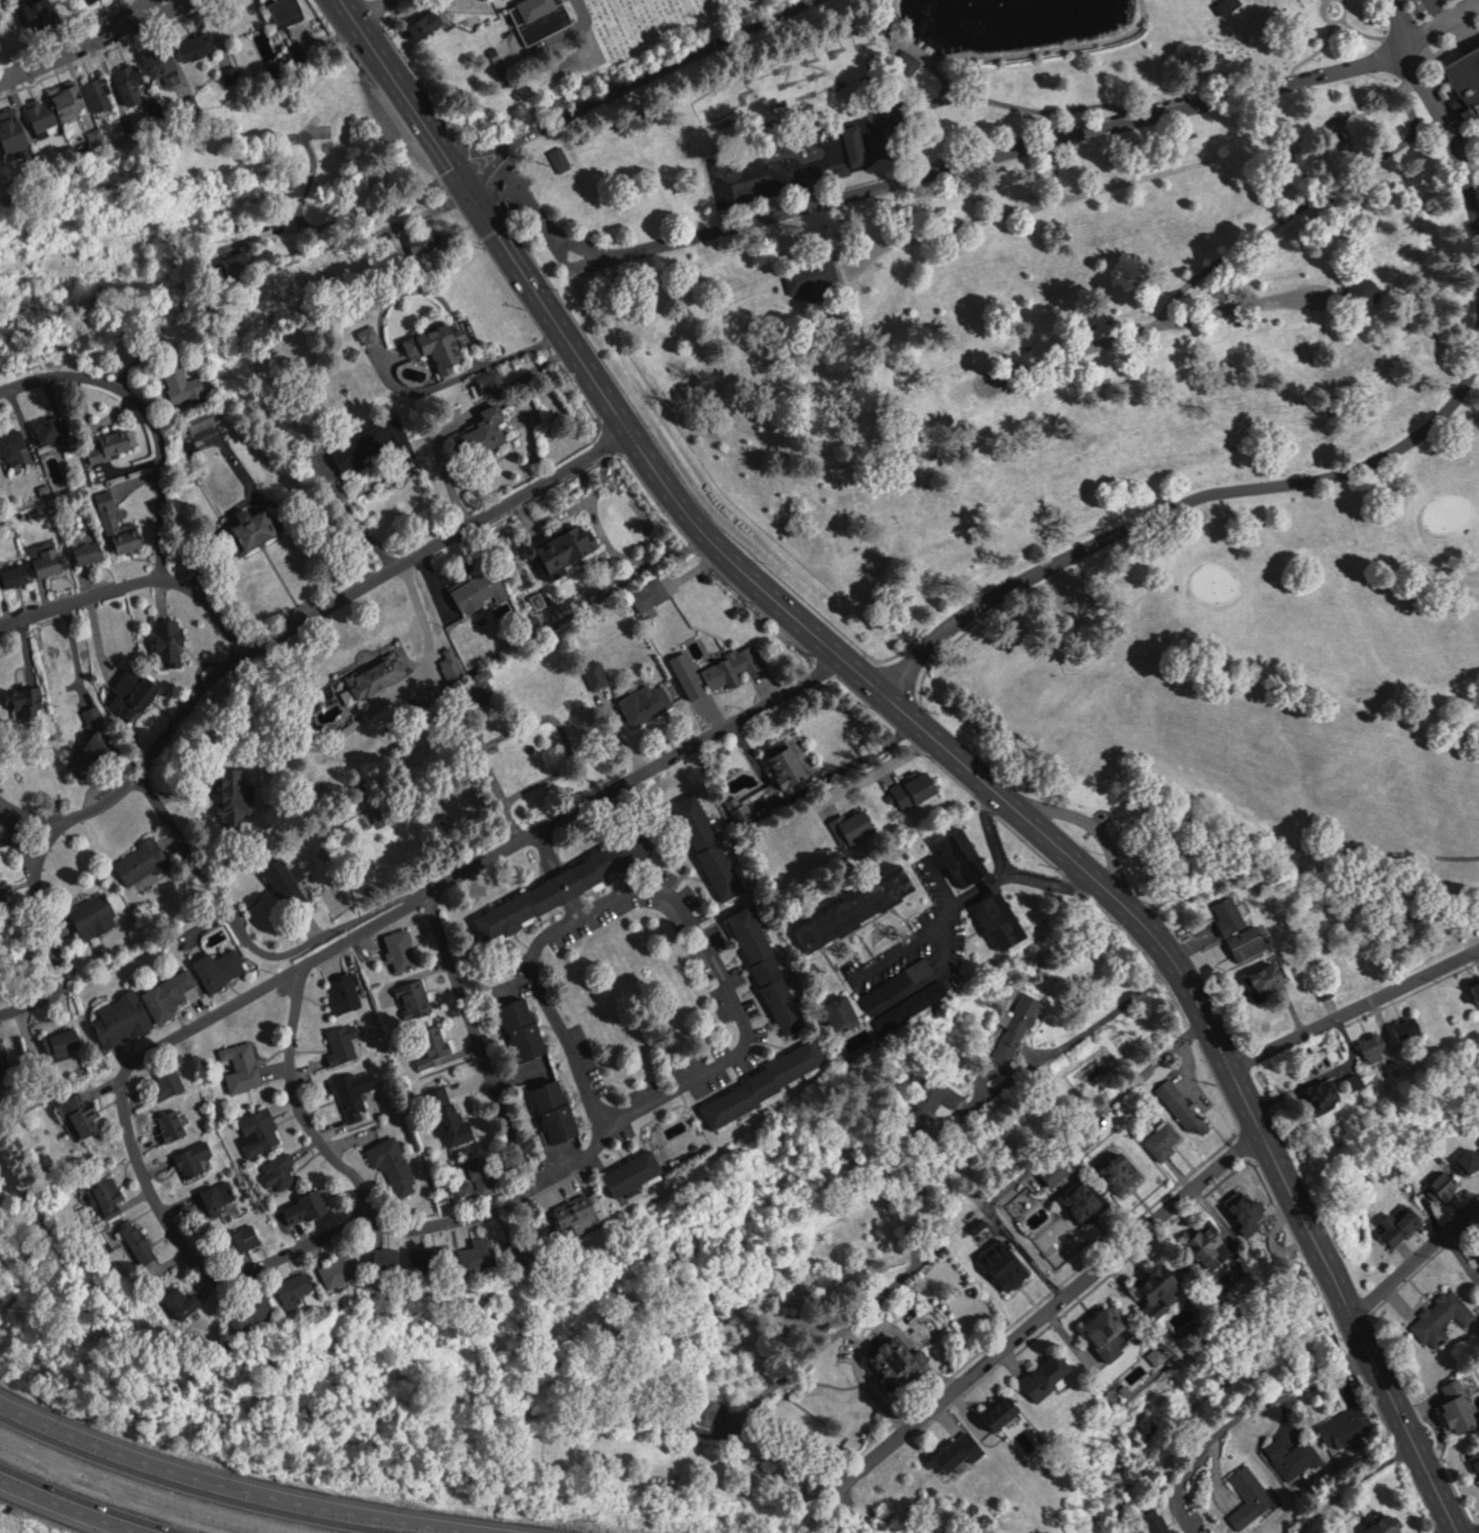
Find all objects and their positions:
building: (1229, 6)
road: (1436, 8)
building: (40, 10)
building: (289, 11)
parking lot: (1418, 13)
road: (131, 17)
building: (541, 18)
road: (1394, 20)
road: (1437, 20)
building: (430, 24)
road: (94, 41)
building: (197, 45)
park: (537, 45)
building: (165, 62)
park: (1454, 65)
building: (233, 74)
park: (807, 79)
road: (628, 82)
building: (134, 84)
building: (1465, 84)
building: (100, 95)
building: (73, 104)
building: (44, 115)
building: (14, 133)
building: (100, 134)
road: (1452, 134)
building: (855, 144)
building: (0, 146)
building: (559, 158)
road: (1053, 170)
road: (926, 176)
road: (470, 190)
road: (1037, 201)
road: (1311, 201)
building: (424, 243)
building: (238, 263)
park: (1011, 272)
road: (1156, 324)
building: (370, 334)
building: (439, 345)
building: (489, 383)
building: (188, 387)
road: (149, 413)
building: (202, 420)
building: (490, 428)
building: (50, 429)
building: (14, 441)
building: (369, 442)
building: (111, 443)
road: (1180, 500)
building: (119, 525)
building: (258, 527)
road: (436, 541)
building: (565, 546)
building: (89, 547)
building: (50, 561)
building: (15, 575)
road: (136, 579)
building: (483, 588)
building: (651, 593)
building: (1080, 598)
building: (172, 640)
building: (734, 667)
building: (379, 675)
building: (484, 682)
building: (134, 692)
building: (23, 696)
building: (646, 702)
park: (1276, 751)
building: (790, 765)
road: (142, 766)
road: (873, 772)
building: (917, 789)
building: (234, 794)
road: (3, 804)
building: (855, 825)
road: (1093, 825)
building: (710, 846)
road: (48, 849)
road: (483, 860)
building: (142, 861)
road: (561, 872)
road: (1008, 874)
building: (969, 882)
building: (289, 885)
building: (565, 885)
road: (667, 892)
road: (1113, 892)
building: (2, 893)
building: (859, 907)
building: (94, 915)
road: (935, 926)
road: (50, 930)
road: (250, 938)
building: (1244, 941)
building: (403, 949)
road: (445, 951)
building: (222, 967)
building: (770, 969)
building: (901, 983)
building: (1477, 986)
building: (170, 992)
building: (346, 993)
building: (415, 999)
building: (917, 1006)
road: (1355, 1007)
building: (847, 1012)
building: (121, 1018)
building: (1411, 1028)
building: (523, 1029)
building: (1015, 1030)
building: (65, 1040)
building: (344, 1044)
building: (1379, 1045)
building: (433, 1046)
road: (1061, 1048)
building: (2, 1061)
building: (242, 1065)
building: (1357, 1081)
building: (168, 1083)
building: (773, 1086)
building: (933, 1094)
building: (1329, 1094)
building: (352, 1095)
road: (501, 1098)
road: (297, 1104)
building: (1185, 1105)
building: (556, 1114)
building: (82, 1116)
building: (452, 1118)
building: (173, 1124)
building: (260, 1131)
building: (1165, 1140)
road: (1055, 1146)
road: (585, 1157)
building: (194, 1158)
building: (1469, 1162)
building: (394, 1163)
building: (281, 1172)
building: (641, 1173)
building: (1122, 1173)
building: (485, 1176)
building: (1444, 1187)
building: (109, 1194)
building: (219, 1194)
building: (1085, 1197)
building: (310, 1206)
building: (1244, 1211)
building: (1401, 1222)
building: (567, 1227)
building: (247, 1239)
building: (142, 1240)
building: (1208, 1246)
building: (1478, 1248)
building: (1478, 1249)
road: (1414, 1252)
building: (491, 1253)
building: (422, 1258)
building: (1012, 1262)
road: (268, 1266)
building: (346, 1270)
building: (303, 1289)
building: (1159, 1294)
building: (190, 1302)
road: (1053, 1304)
building: (263, 1311)
building: (1445, 1317)
building: (1112, 1330)
building: (894, 1362)
building: (1042, 1373)
road: (773, 1383)
road: (1294, 1397)
building: (1459, 1404)
building: (707, 1409)
building: (1002, 1414)
building: (1345, 1426)
building: (958, 1451)
building: (1293, 1456)
building: (1476, 1458)
road: (231, 1483)
building: (1248, 1496)
road: (75, 1505)
building: (1154, 1521)
building: (1383, 1525)
road: (1445, 1528)
road: (1478, 1532)

